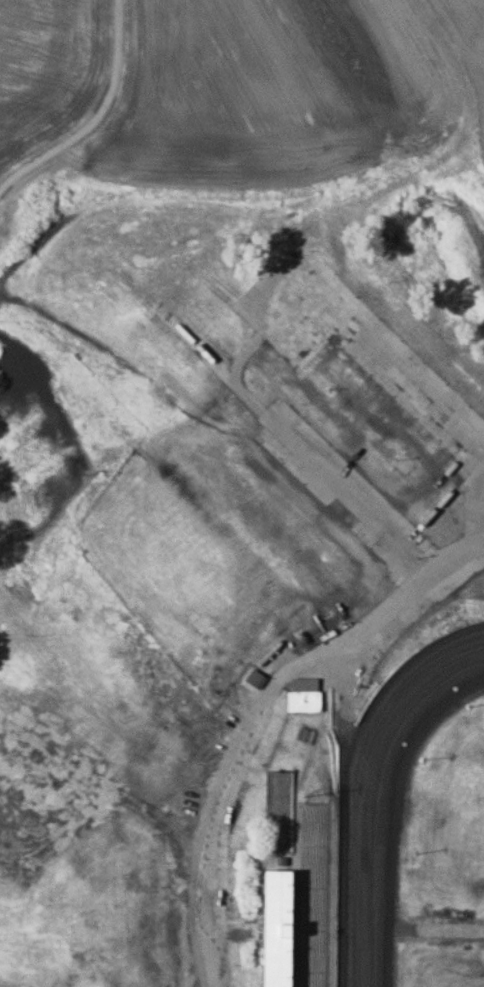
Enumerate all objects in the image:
crop: (44, 63)
crop: (295, 107)
road: (96, 116)
building: (254, 679)
building: (302, 695)
raceway: (383, 794)
road: (218, 826)
building: (298, 890)

